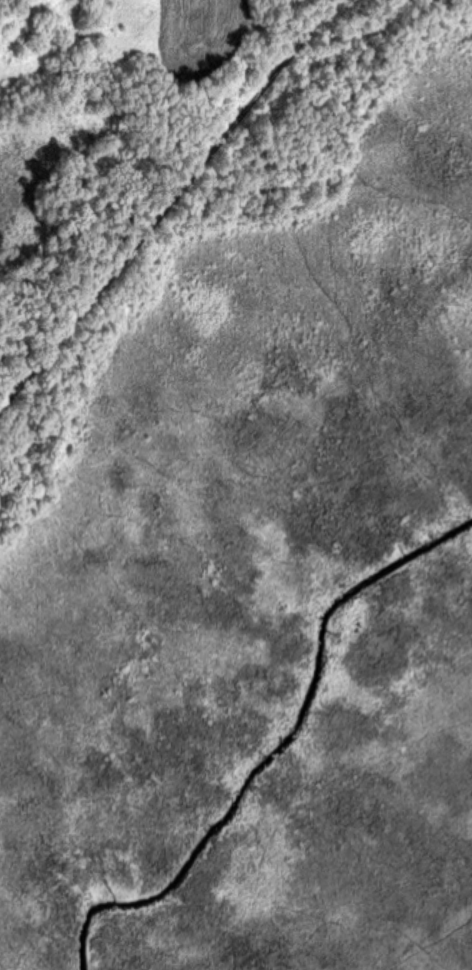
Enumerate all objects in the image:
road: (168, 207)

